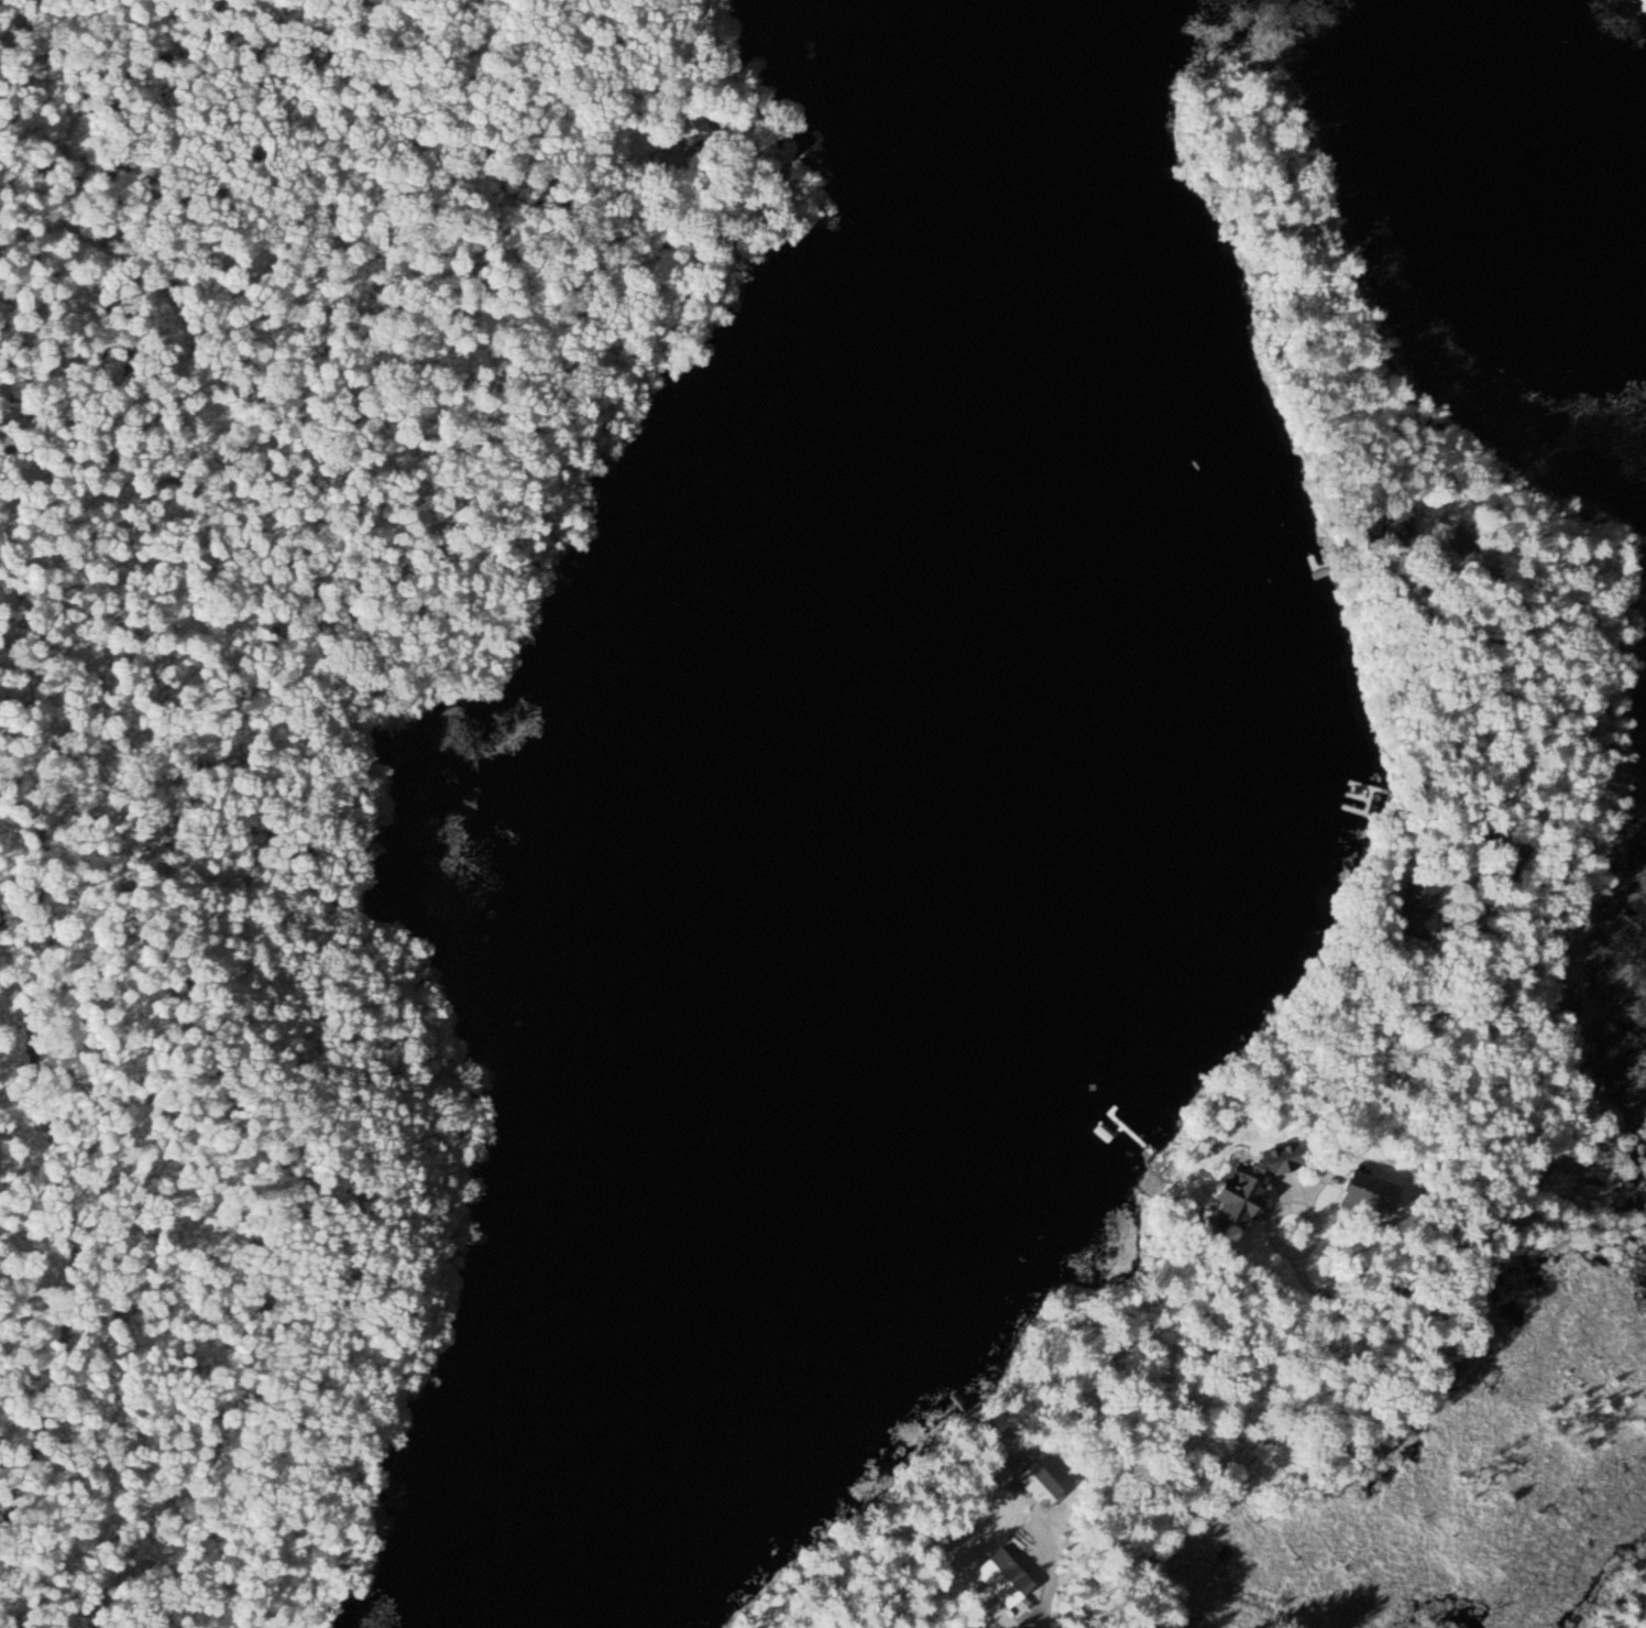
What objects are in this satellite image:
road: (567, 4)
building: (689, 124)
road: (109, 360)
building: (1386, 521)
building: (1460, 539)
building: (1312, 569)
road: (1603, 703)
building: (1415, 905)
building: (1367, 1191)
road: (69, 1208)

